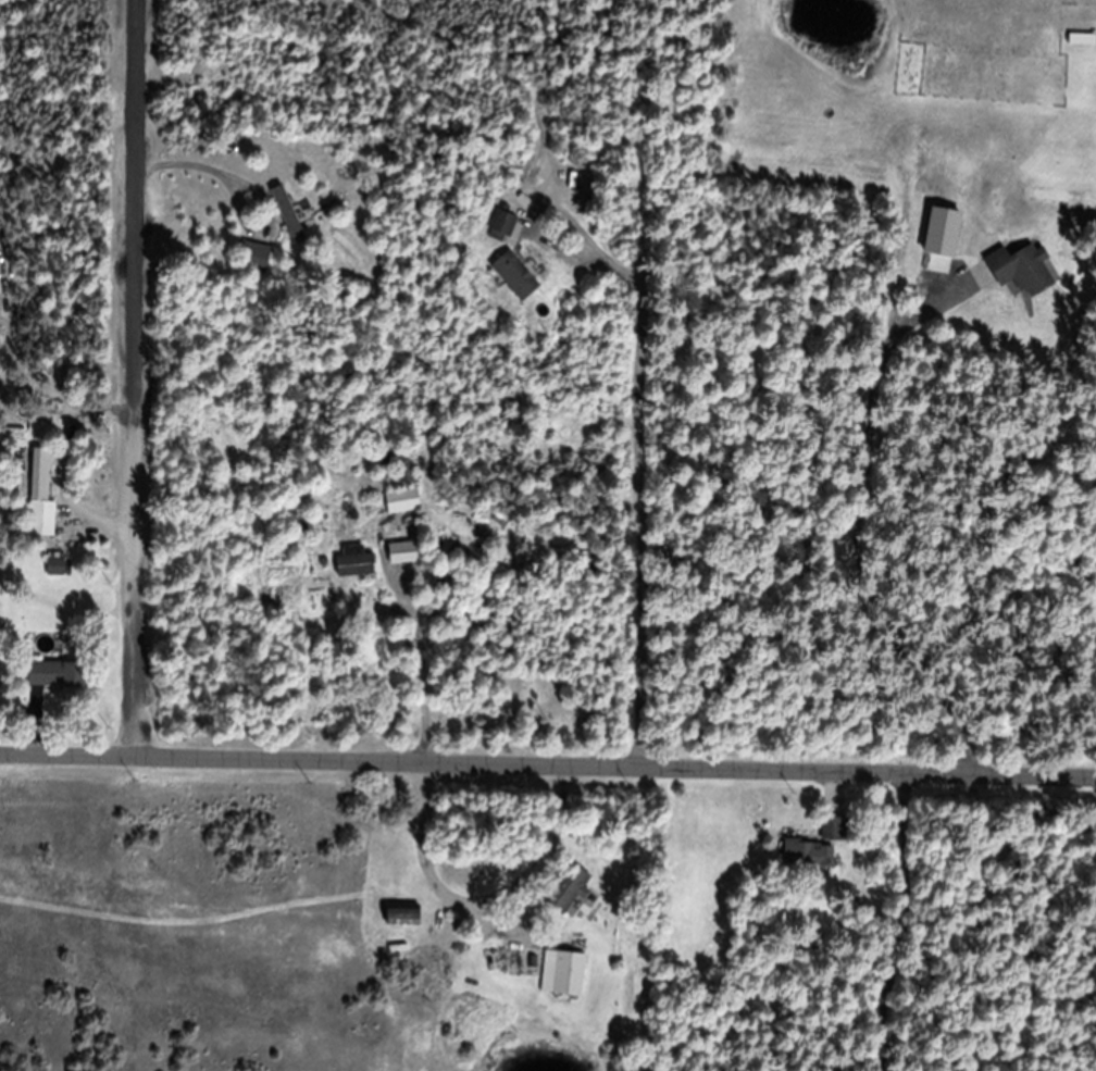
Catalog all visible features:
building: (1081, 39)
building: (287, 215)
building: (501, 224)
building: (253, 258)
building: (1019, 271)
building: (513, 276)
building: (39, 496)
building: (400, 501)
building: (402, 552)
building: (349, 562)
building: (53, 566)
building: (54, 674)
road: (548, 742)
building: (814, 846)
building: (565, 889)
building: (400, 916)
building: (561, 974)

